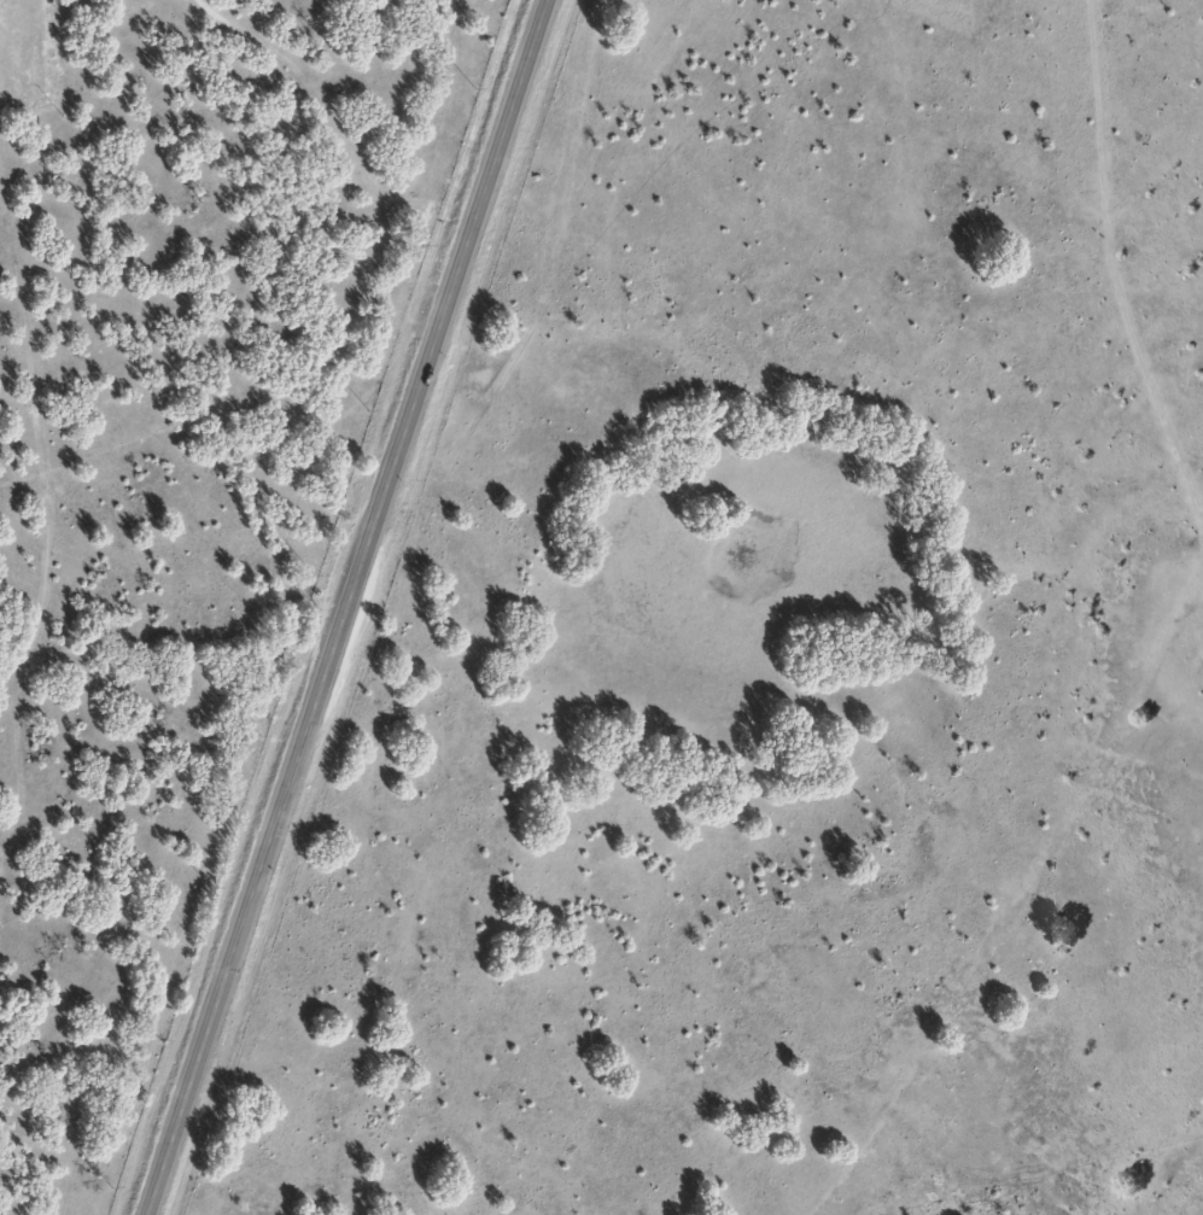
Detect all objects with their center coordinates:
road: (351, 608)

